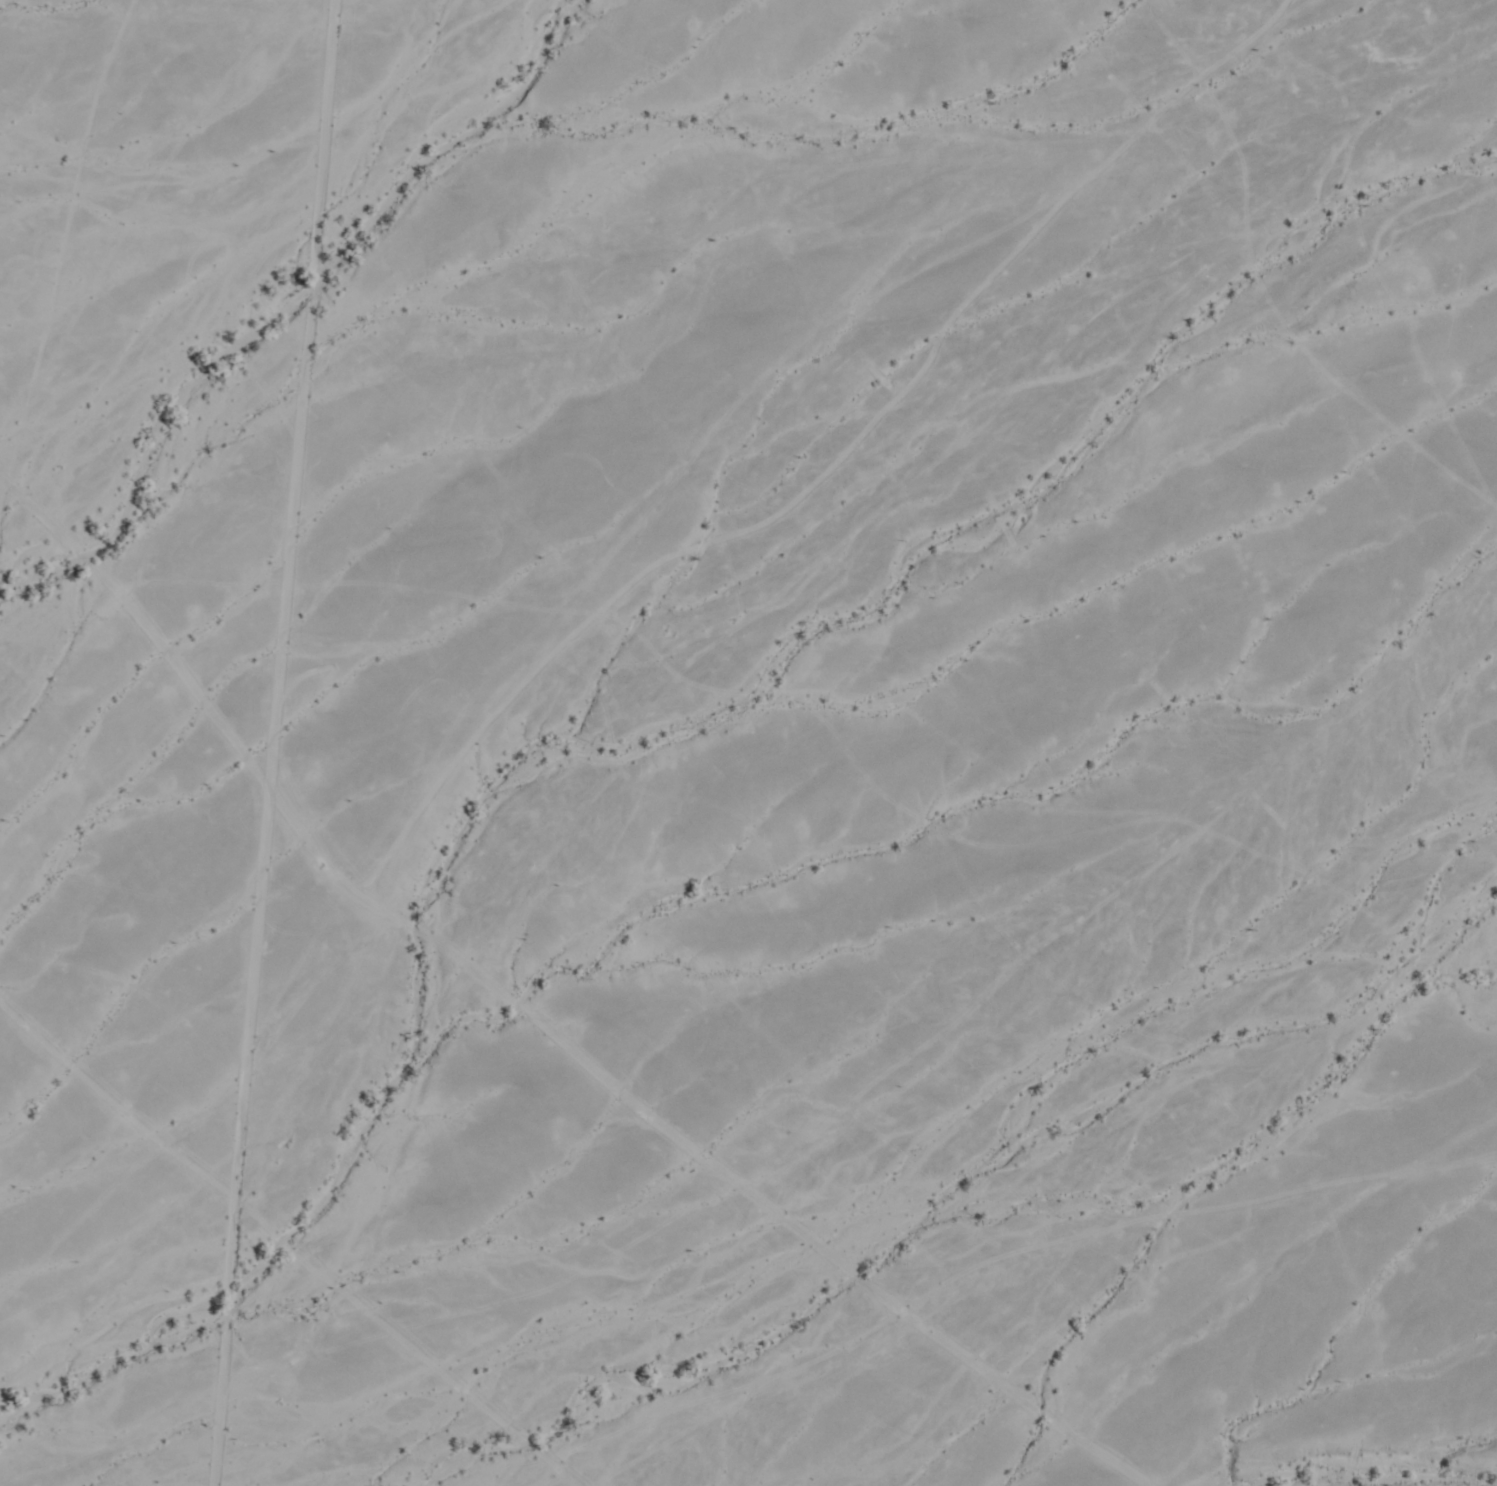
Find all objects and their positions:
road: (268, 743)

